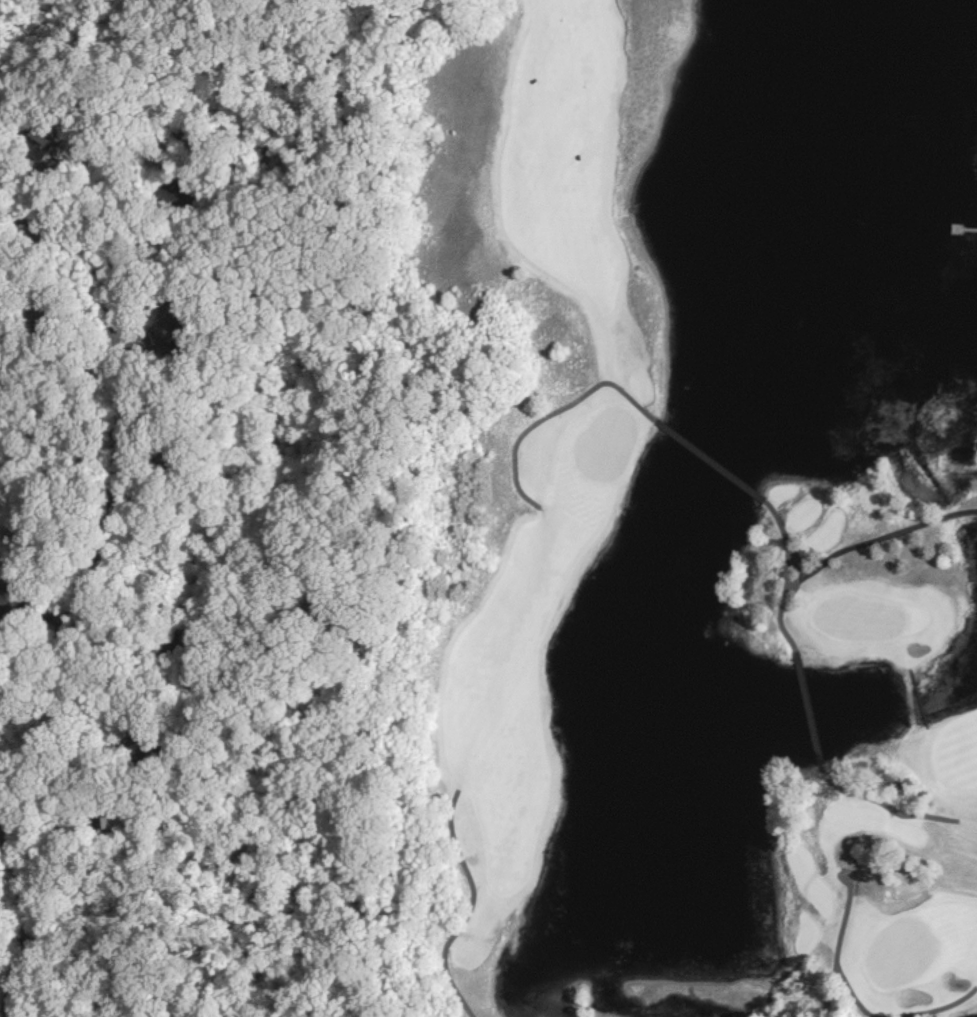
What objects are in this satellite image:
road: (41, 27)
road: (10, 67)
building: (175, 327)
road: (542, 407)
road: (101, 455)
road: (698, 456)
park: (666, 510)
road: (781, 540)
road: (844, 549)
park: (851, 618)
road: (913, 696)
road: (802, 707)
road: (870, 770)
road: (878, 804)
road: (458, 905)
road: (15, 931)
park: (893, 952)
road: (768, 983)
road: (825, 986)
road: (844, 991)

